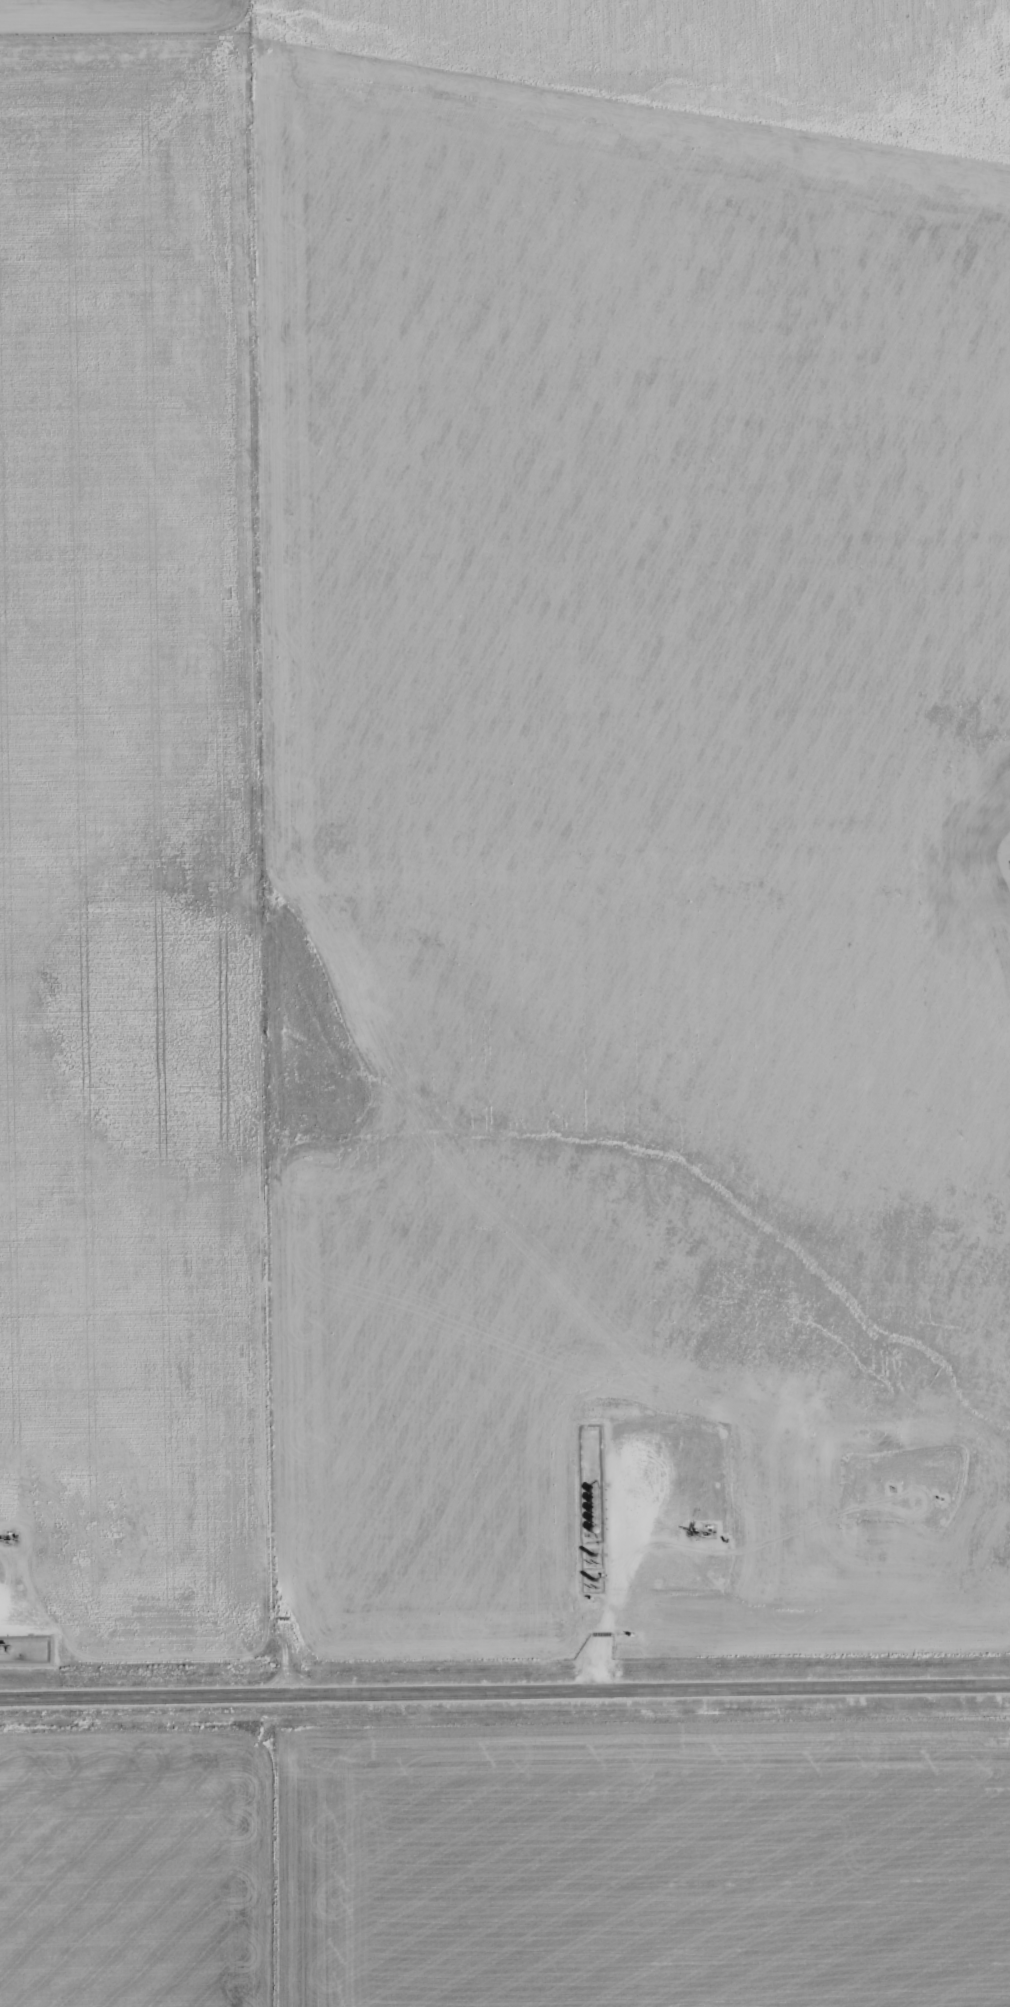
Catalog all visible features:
petroleum well: (695, 1524)
road: (505, 1695)

